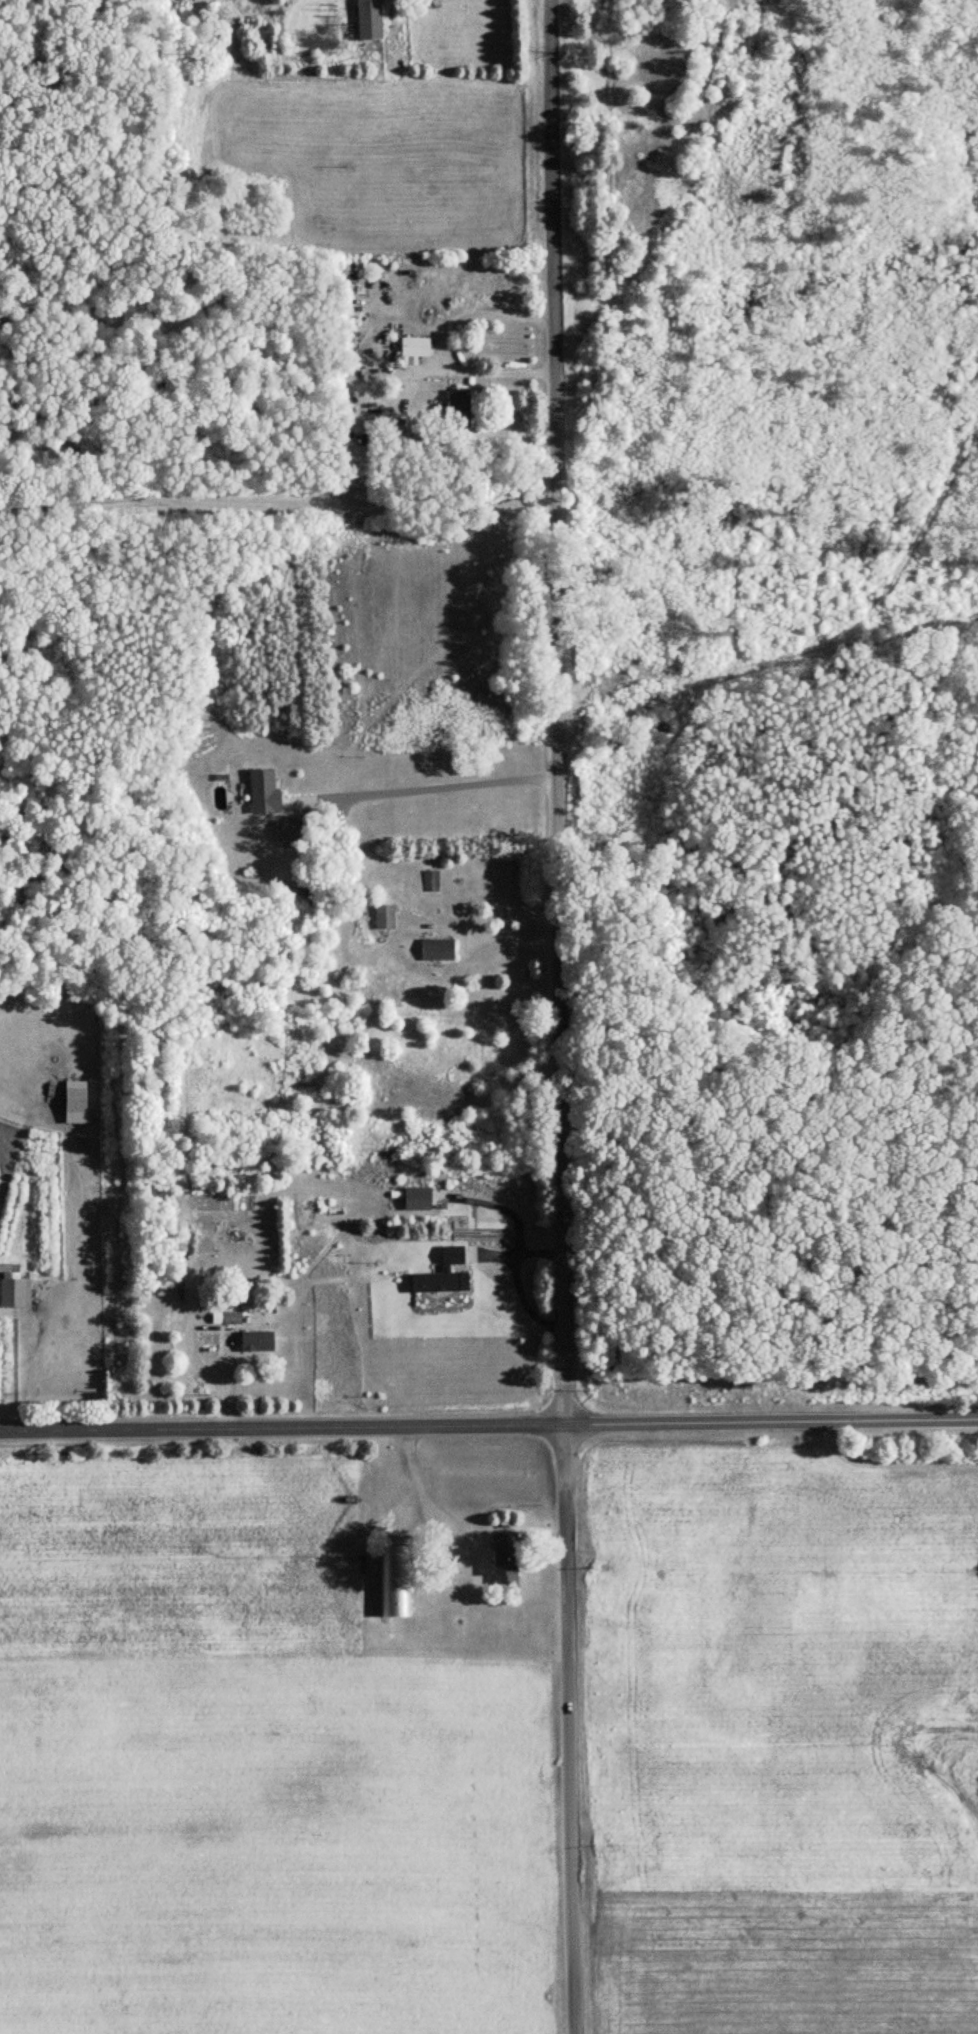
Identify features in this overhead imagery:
building: (370, 19)
road: (437, 339)
building: (417, 346)
building: (459, 409)
road: (277, 505)
road: (434, 785)
building: (265, 791)
building: (292, 830)
building: (431, 880)
building: (385, 918)
road: (507, 937)
building: (438, 949)
road: (559, 1017)
road: (6, 1171)
building: (158, 1200)
road: (517, 1281)
building: (16, 1293)
building: (258, 1341)
road: (488, 1417)
building: (506, 1557)
road: (434, 1564)
building: (396, 1581)

